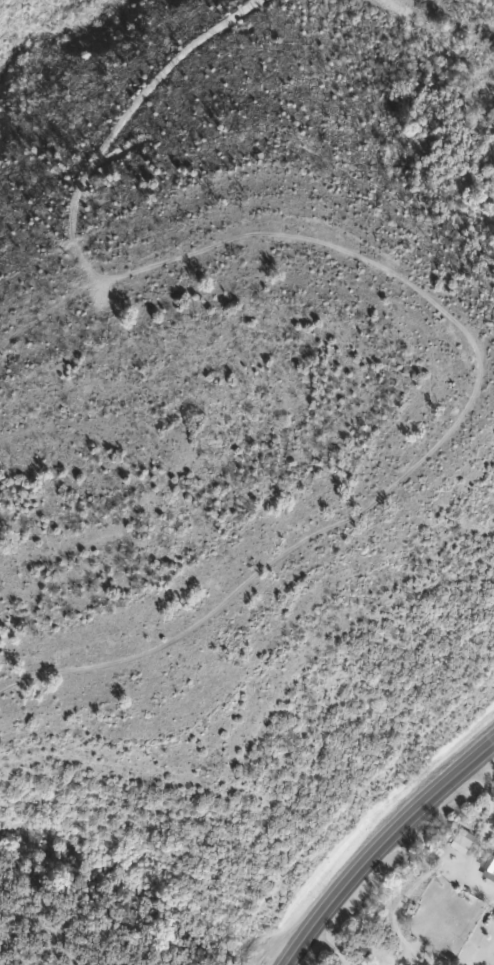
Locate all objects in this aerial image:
building: (459, 838)
road: (381, 842)
building: (487, 867)

